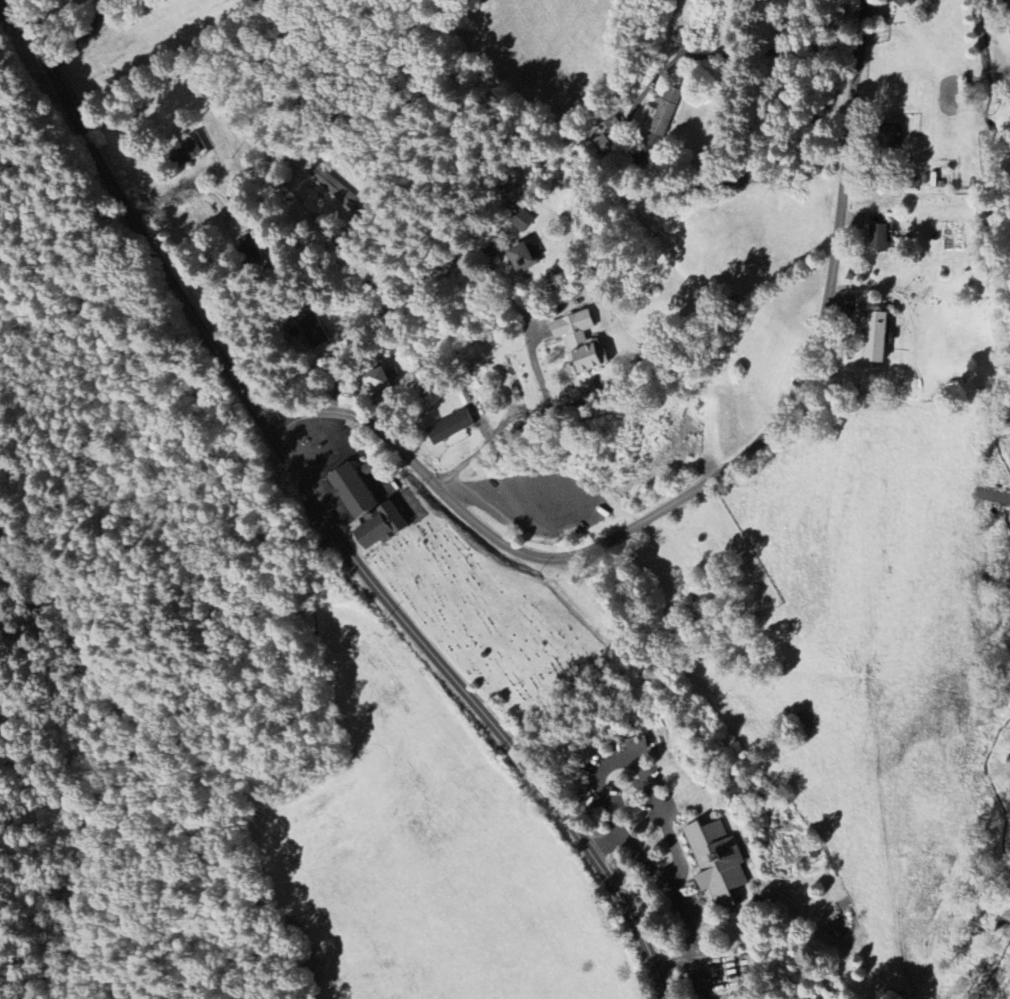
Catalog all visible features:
building: (901, 2)
road: (82, 37)
road: (840, 55)
road: (727, 58)
building: (661, 116)
building: (601, 142)
building: (181, 153)
building: (521, 220)
building: (878, 237)
building: (521, 257)
road: (77, 258)
road: (105, 300)
building: (314, 331)
building: (874, 337)
building: (580, 340)
building: (378, 380)
road: (521, 425)
building: (449, 427)
road: (709, 478)
building: (366, 504)
road: (320, 511)
road: (140, 529)
road: (113, 542)
park: (686, 577)
road: (150, 614)
park: (486, 619)
road: (107, 730)
building: (636, 745)
road: (260, 762)
road: (662, 820)
crop: (428, 854)
building: (720, 864)

